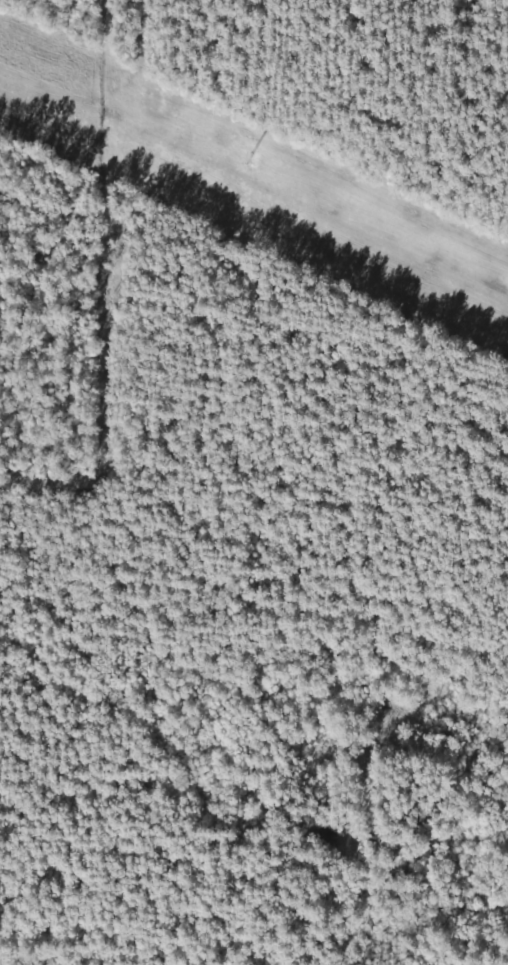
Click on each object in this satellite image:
power tower: (246, 152)

